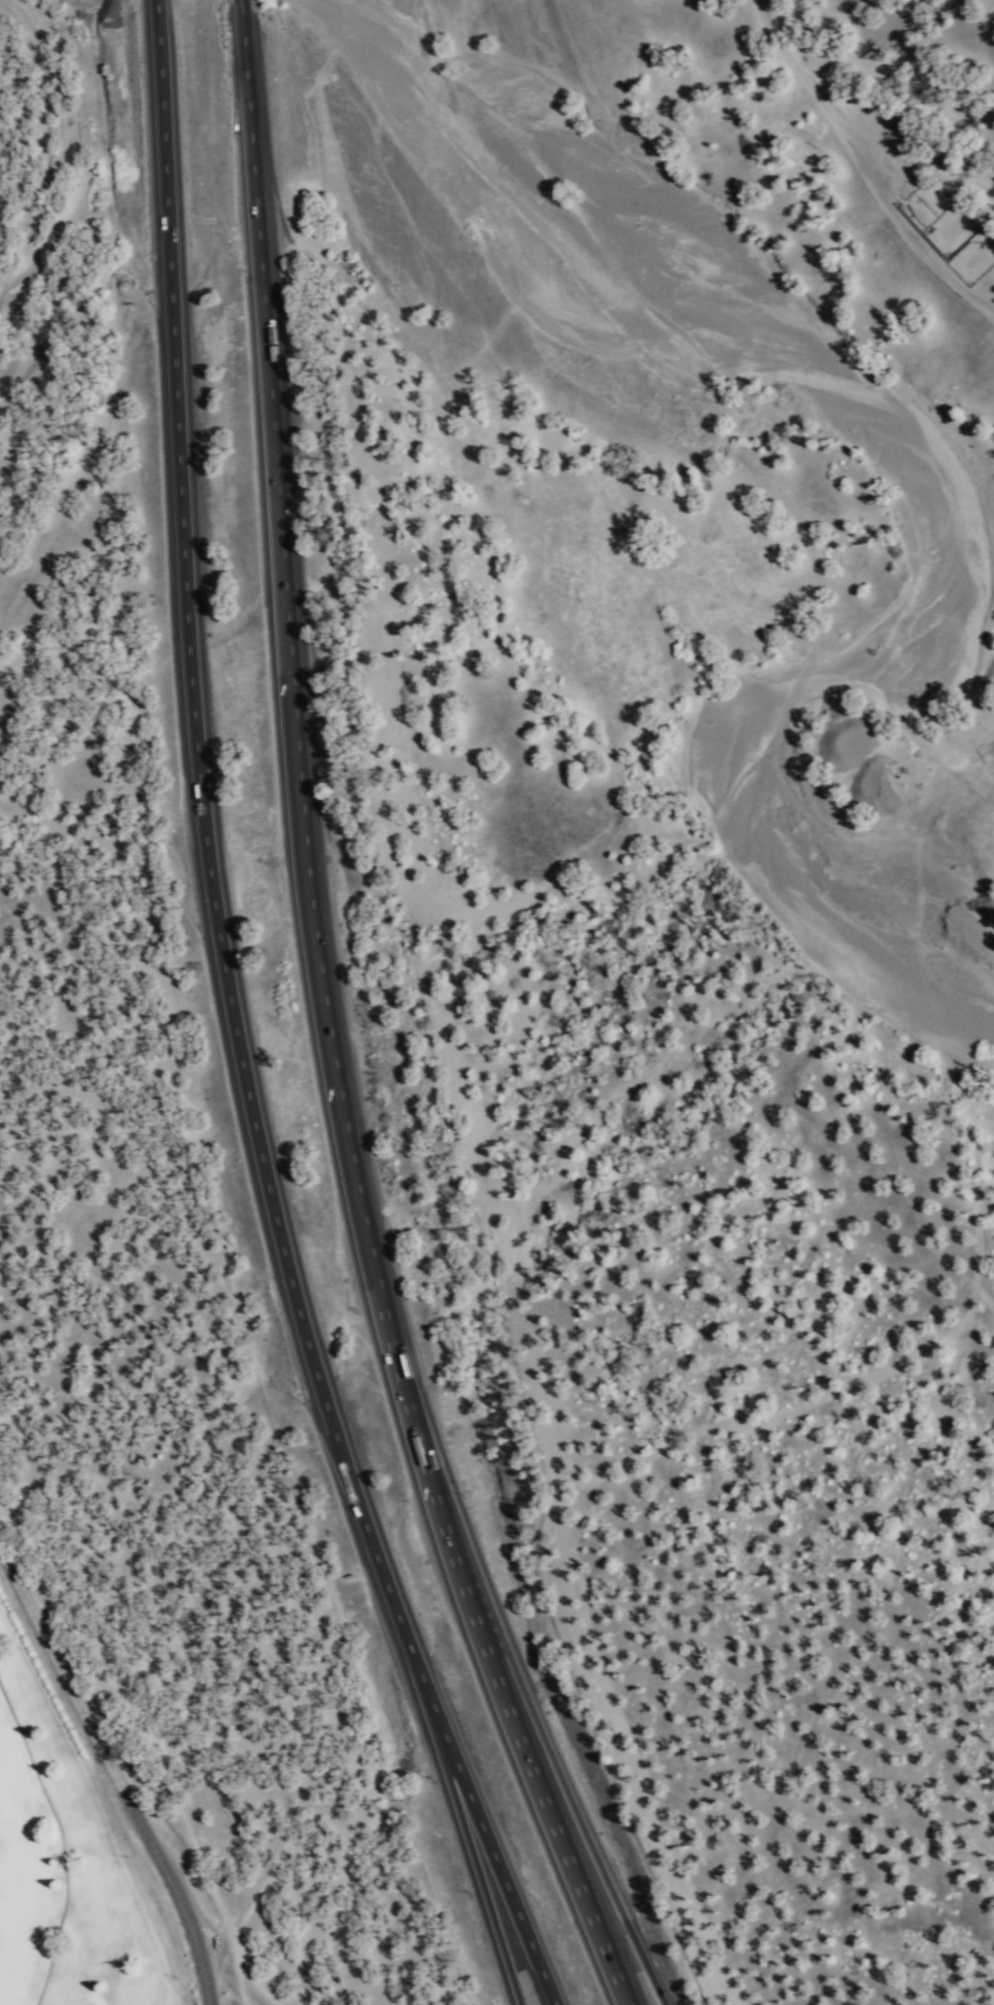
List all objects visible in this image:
river: (321, 3)
road: (242, 9)
river: (647, 228)
river: (739, 761)
road: (231, 1028)
road: (328, 1035)
road: (112, 1778)
road: (568, 1789)
park: (73, 1837)
road: (477, 1863)

